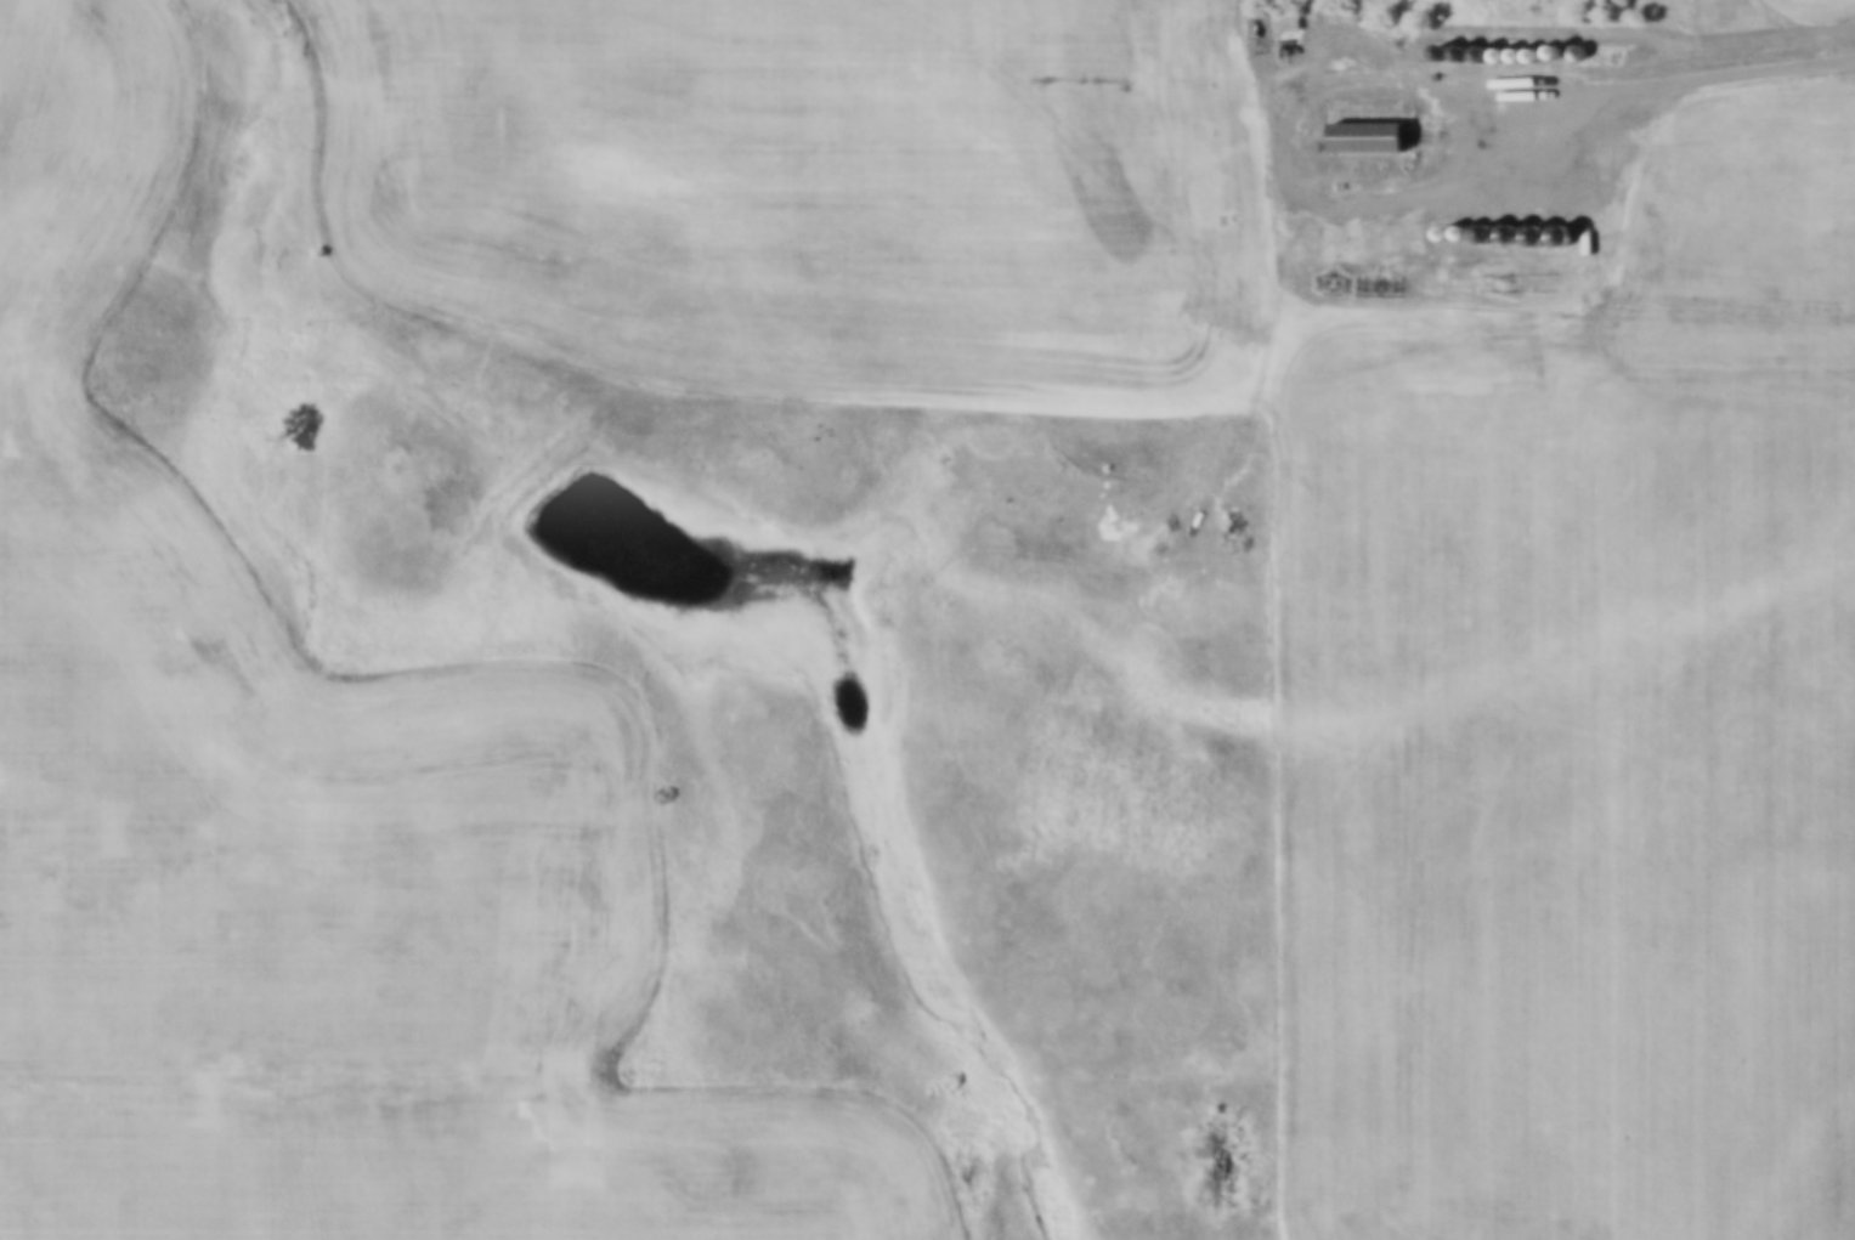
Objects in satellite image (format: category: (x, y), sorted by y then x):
building: (1282, 15)
building: (1409, 39)
building: (1435, 43)
silo: (1435, 43)
building: (1455, 43)
silo: (1455, 43)
building: (1549, 43)
silo: (1549, 43)
building: (1572, 44)
silo: (1572, 44)
building: (1476, 45)
silo: (1476, 45)
building: (1495, 46)
silo: (1495, 46)
building: (1512, 46)
silo: (1512, 46)
building: (1529, 46)
silo: (1529, 46)
road: (1685, 81)
building: (1362, 128)
building: (1458, 222)
silo: (1458, 222)
building: (1440, 223)
silo: (1440, 223)
building: (1480, 223)
silo: (1480, 223)
building: (1505, 223)
silo: (1505, 223)
building: (1457, 243)

